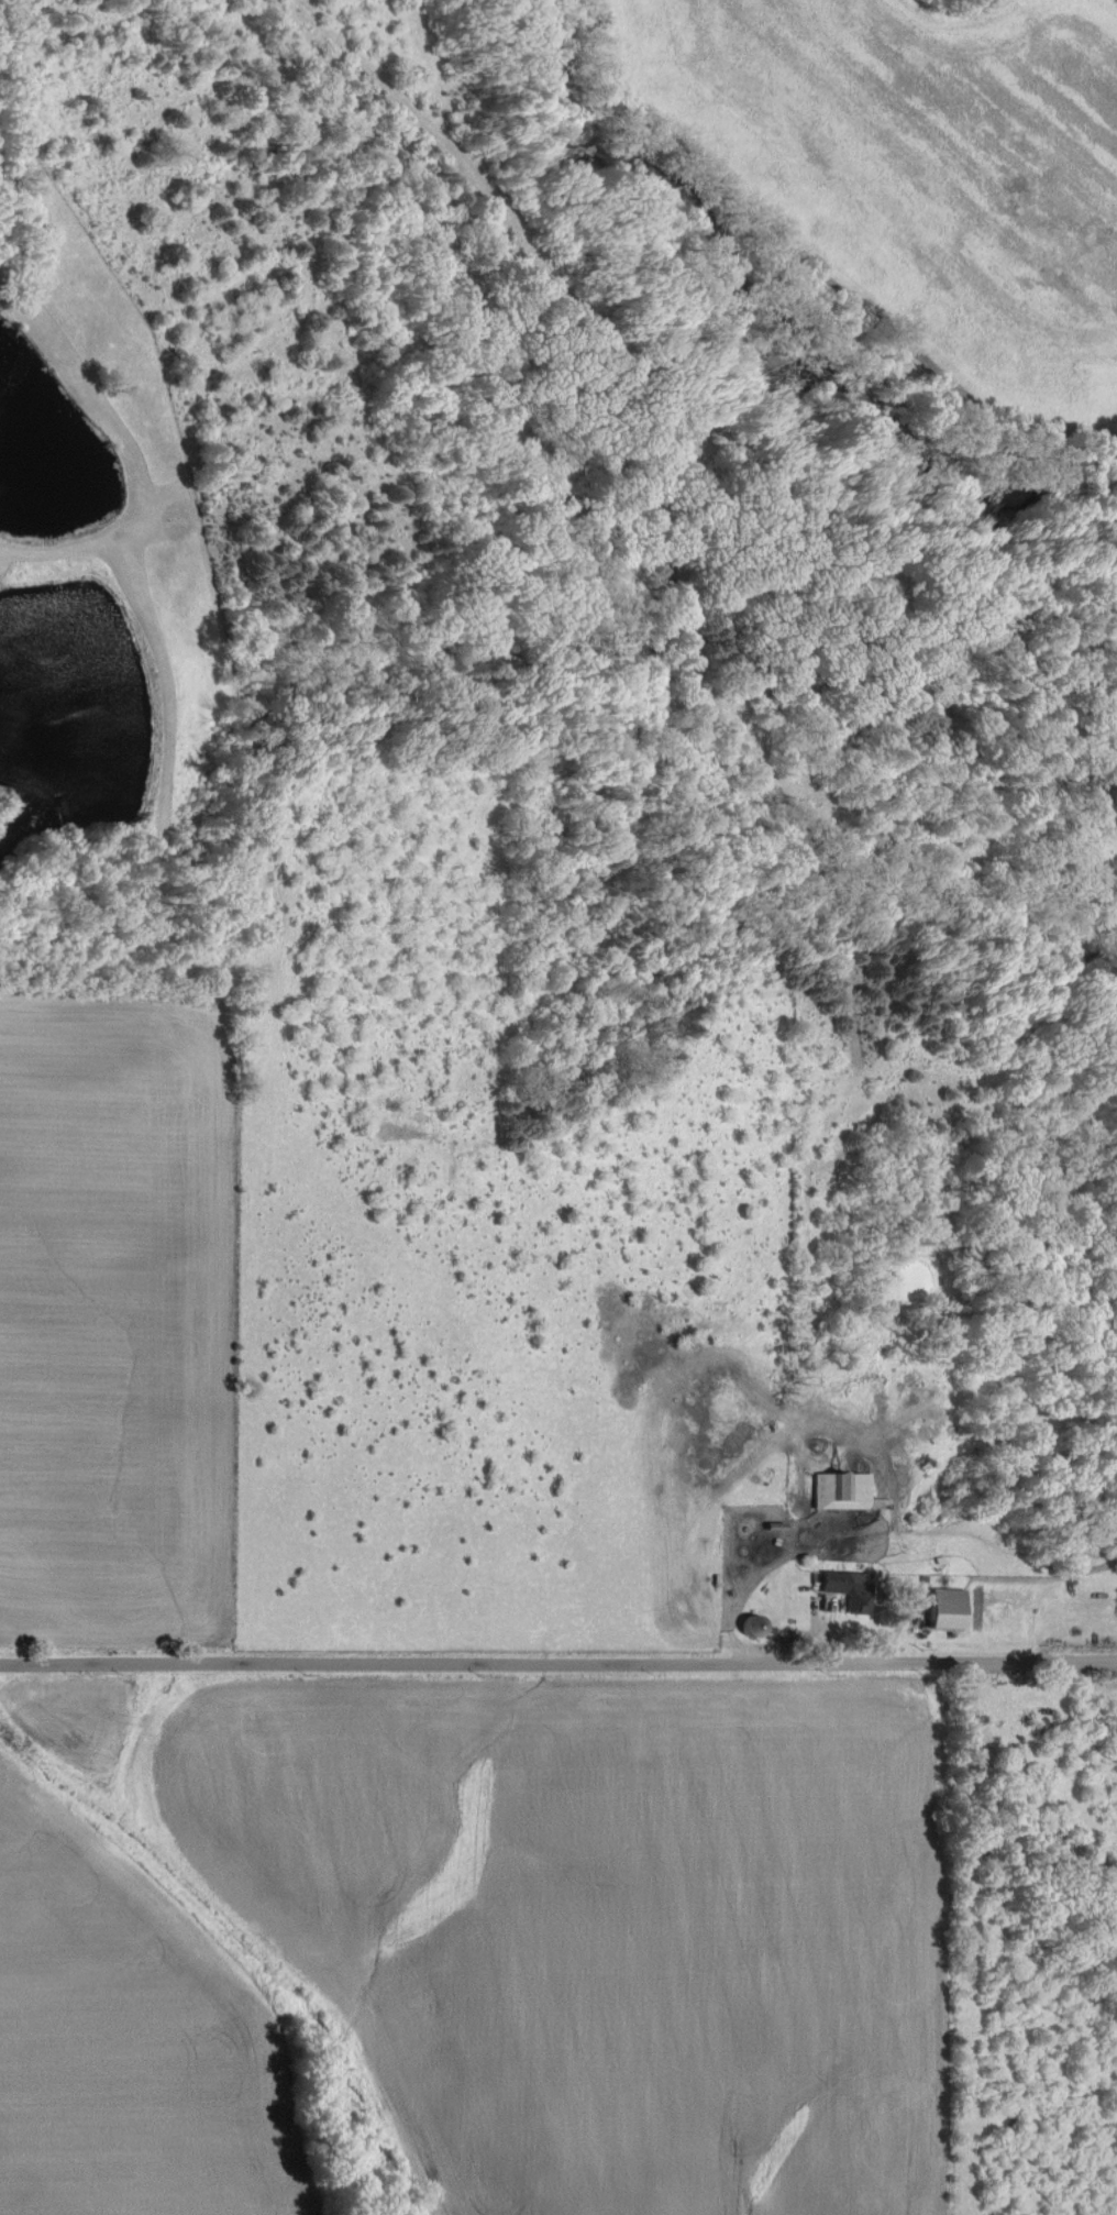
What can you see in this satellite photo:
building: (841, 1491)
building: (848, 1588)
building: (944, 1607)
building: (750, 1626)
road: (558, 1662)

